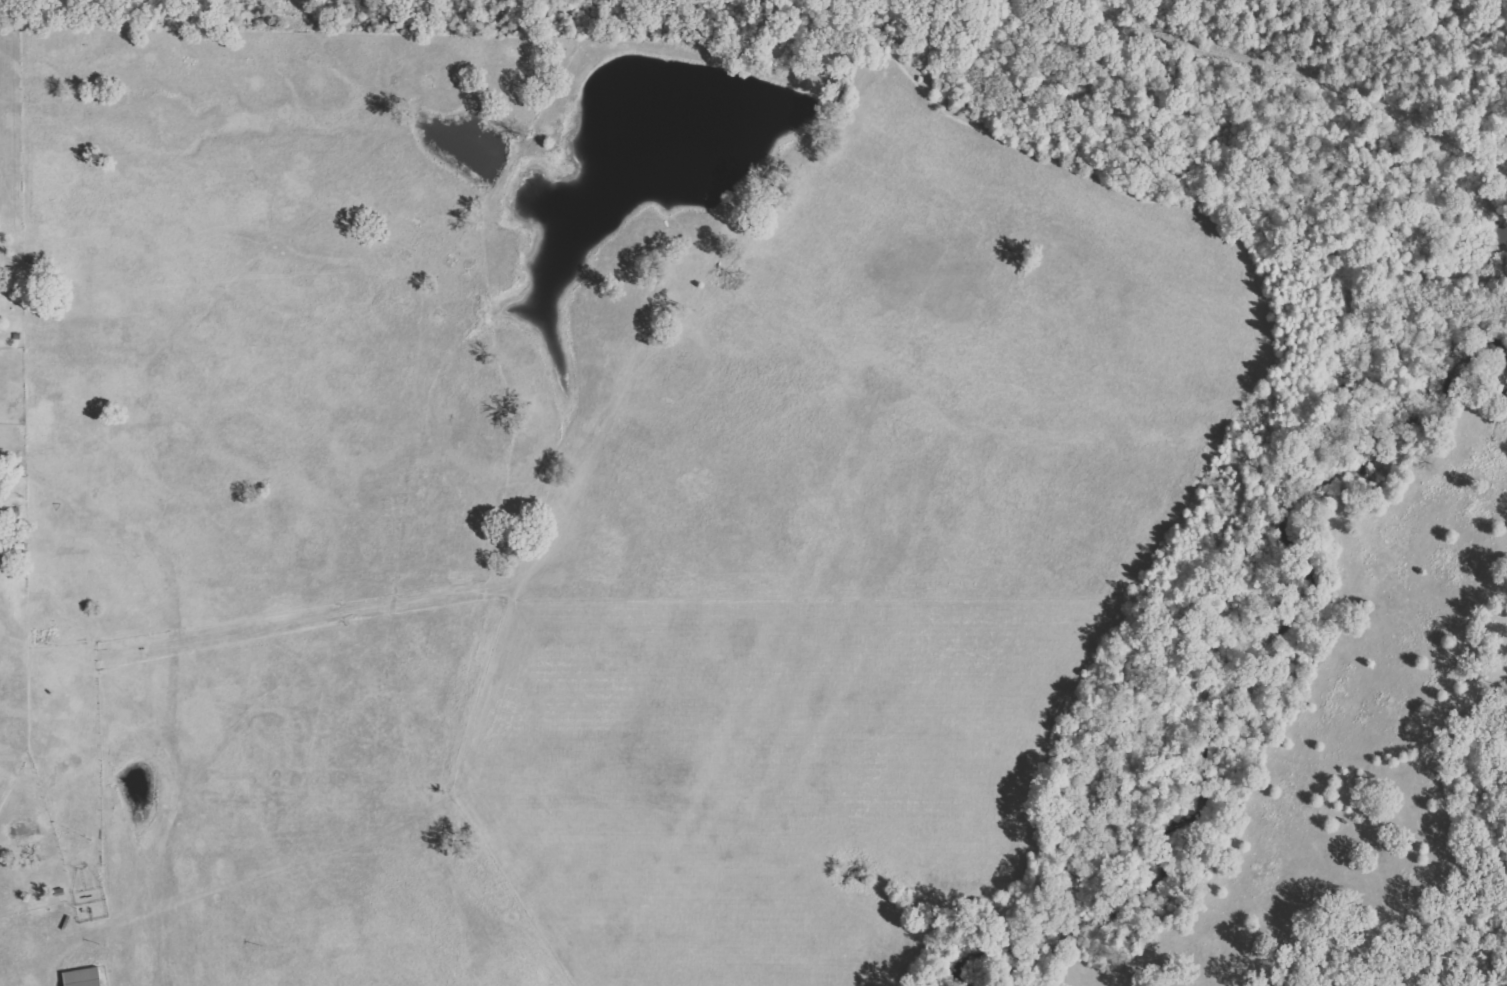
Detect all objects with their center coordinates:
building: (0, 537)
building: (83, 977)

